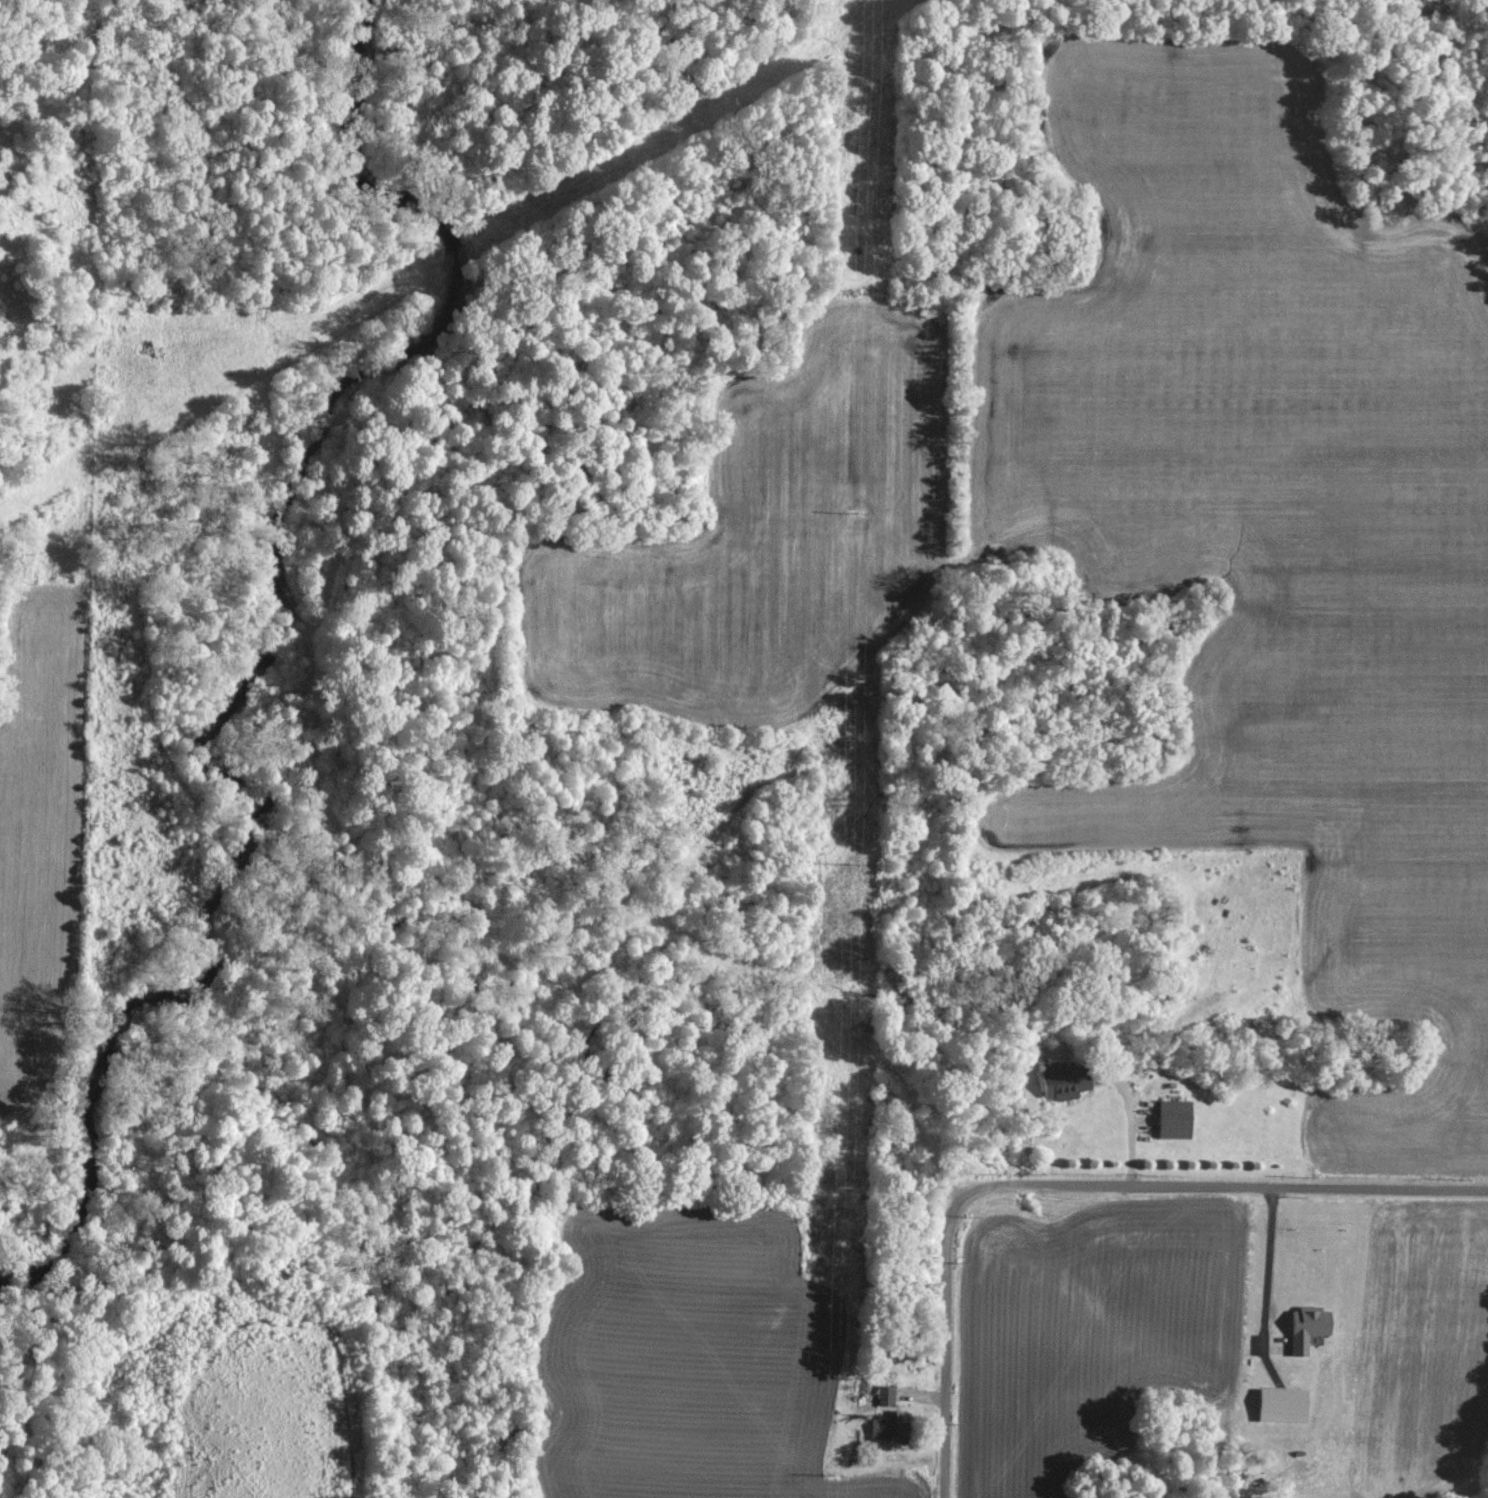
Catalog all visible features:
building: (1069, 1083)
building: (1177, 1118)
road: (1131, 1128)
road: (1069, 1185)
building: (1311, 1325)
building: (887, 1393)
building: (885, 1427)

